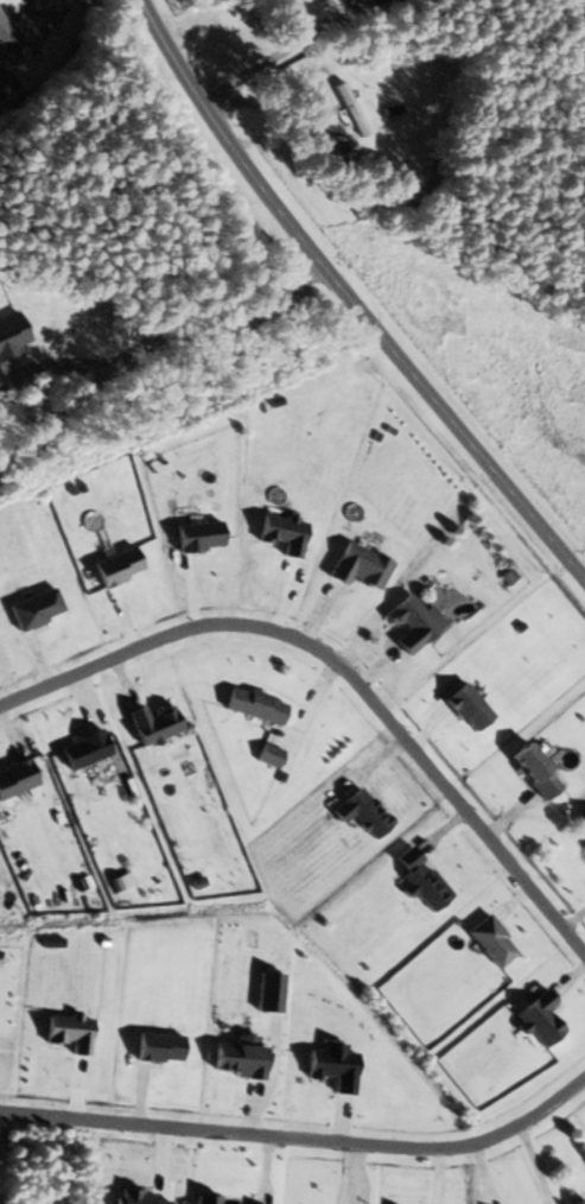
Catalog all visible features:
road: (24, 7)
building: (8, 36)
road: (276, 55)
building: (7, 83)
building: (348, 109)
road: (208, 298)
road: (348, 299)
road: (52, 361)
road: (56, 416)
building: (354, 566)
building: (407, 622)
road: (345, 671)
building: (249, 705)
road: (305, 711)
building: (265, 755)
building: (528, 769)
building: (356, 812)
building: (580, 828)
building: (414, 877)
road: (301, 1138)
building: (201, 1199)
building: (574, 1200)
building: (584, 1203)

